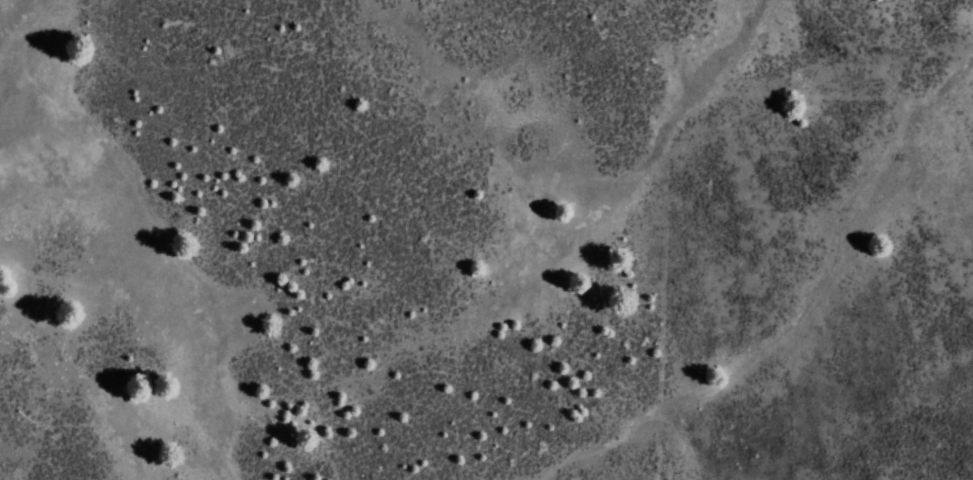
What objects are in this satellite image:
crop: (483, 290)

